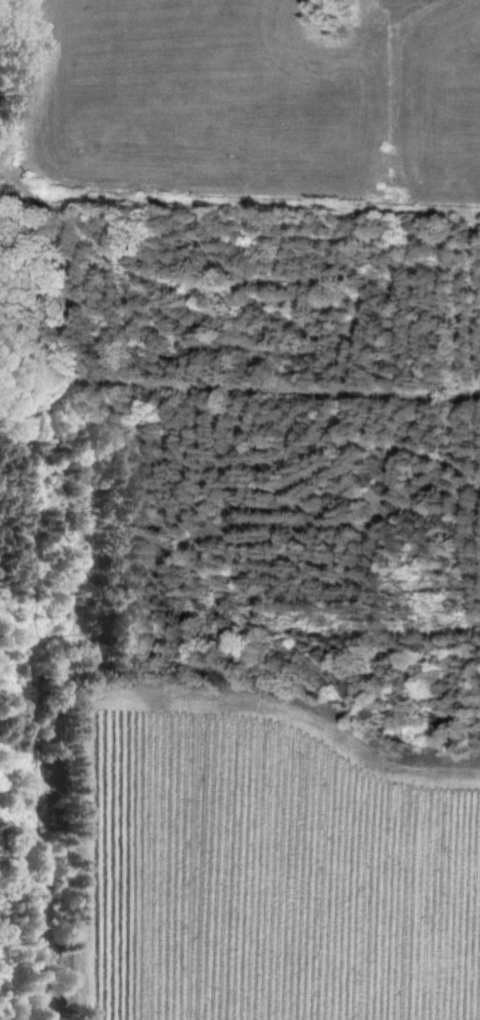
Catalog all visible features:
landfill: (245, 67)
road: (167, 306)
park: (239, 366)
road: (430, 383)
road: (163, 386)
road: (82, 457)
road: (355, 463)
road: (445, 467)
road: (230, 495)
road: (332, 544)
road: (20, 706)
road: (11, 787)
road: (22, 887)

